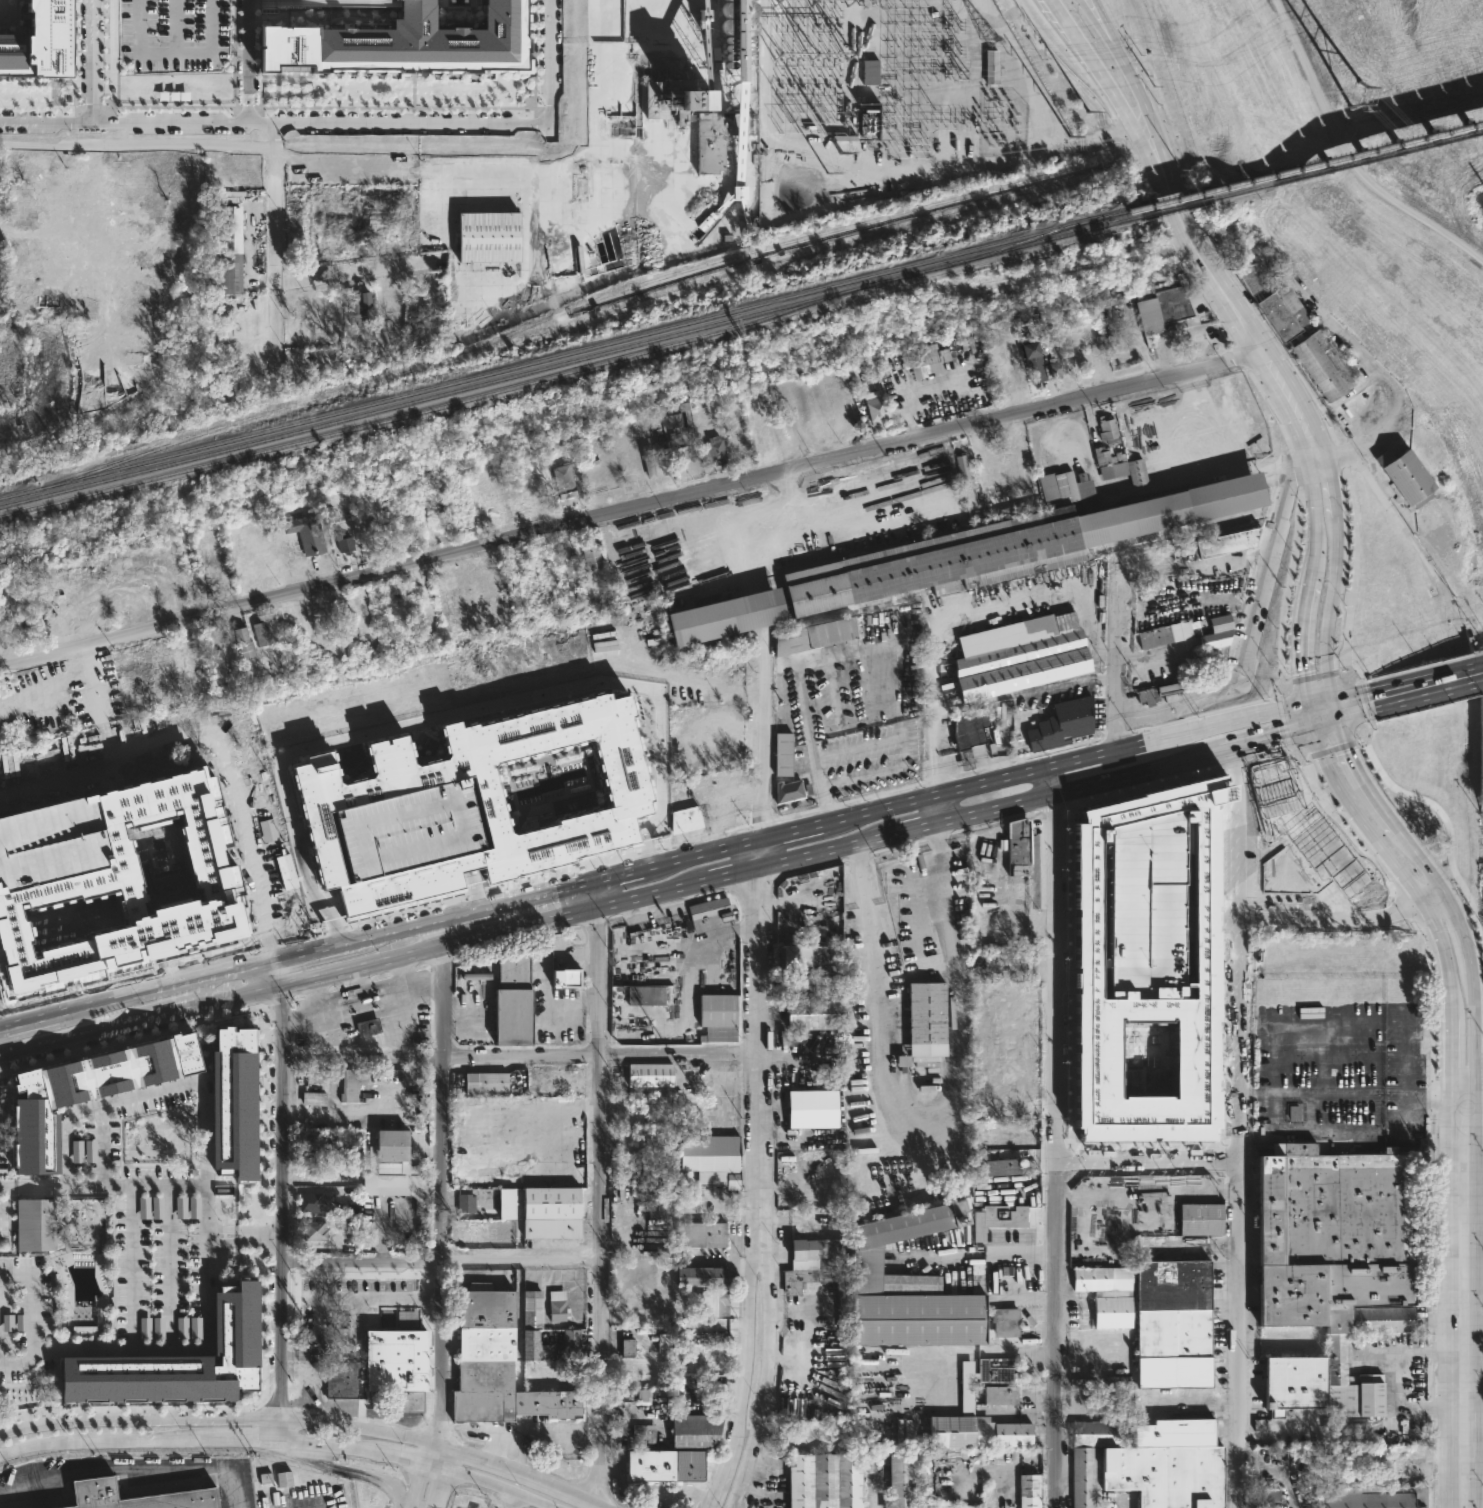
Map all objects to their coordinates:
road: (318, 1)
road: (1091, 22)
road: (1099, 22)
building: (736, 33)
parking lot: (175, 34)
power tower: (983, 36)
building: (39, 42)
building: (401, 42)
road: (171, 52)
road: (97, 61)
road: (549, 62)
building: (991, 66)
building: (870, 71)
road: (1096, 77)
road: (1140, 93)
power tower: (1358, 95)
power substation: (891, 106)
power tower: (1090, 113)
road: (1280, 119)
building: (867, 121)
road: (48, 123)
road: (321, 123)
building: (725, 130)
power tower: (1071, 138)
road: (136, 144)
power tower: (841, 150)
road: (1348, 155)
park: (1355, 161)
railway: (1310, 163)
road: (506, 171)
power tower: (828, 172)
railway: (1311, 172)
road: (273, 179)
building: (489, 236)
railway: (822, 247)
building: (229, 248)
road: (1196, 254)
road: (352, 272)
building: (1253, 275)
road: (1387, 296)
building: (356, 306)
building: (1161, 306)
railway: (565, 309)
building: (1284, 312)
railway: (496, 344)
road: (1142, 346)
railway: (568, 351)
building: (925, 359)
railway: (569, 360)
building: (1035, 360)
building: (1325, 364)
building: (1012, 370)
road: (914, 395)
building: (1355, 403)
building: (874, 407)
road: (1296, 407)
railway: (425, 408)
building: (672, 415)
road: (1090, 419)
building: (714, 450)
building: (1116, 456)
road: (1221, 456)
building: (663, 458)
building: (648, 461)
building: (964, 472)
building: (1408, 476)
building: (563, 481)
road: (1164, 483)
building: (1064, 488)
road: (1332, 491)
road: (791, 504)
road: (629, 510)
road: (1313, 512)
building: (305, 533)
road: (796, 536)
building: (345, 542)
building: (1227, 543)
building: (1007, 547)
building: (590, 554)
road: (1329, 605)
road: (1254, 613)
building: (727, 616)
road: (1302, 627)
building: (261, 632)
building: (1190, 633)
building: (814, 636)
building: (243, 643)
road: (861, 648)
building: (1019, 656)
road: (1116, 658)
road: (1062, 684)
road: (1423, 684)
building: (1161, 692)
traffic signals: (1332, 696)
road: (1348, 697)
road: (1320, 699)
traffic signals: (1308, 702)
road: (973, 704)
road: (1334, 706)
road: (1350, 707)
road: (1273, 710)
road: (1310, 712)
road: (937, 713)
traffic signals: (1337, 716)
road: (1325, 719)
traffic signals: (1313, 723)
building: (1062, 725)
road: (660, 728)
building: (969, 728)
road: (375, 731)
road: (728, 732)
road: (1176, 734)
road: (200, 735)
road: (1268, 735)
road: (761, 737)
road: (858, 744)
road: (1105, 752)
building: (783, 754)
road: (1070, 761)
road: (1359, 777)
road: (1079, 787)
building: (788, 791)
building: (482, 796)
road: (934, 796)
building: (684, 817)
road: (1357, 821)
building: (408, 825)
parking lot: (408, 825)
road: (334, 829)
building: (268, 830)
road: (319, 833)
road: (790, 833)
road: (908, 835)
road: (302, 837)
building: (51, 845)
parking garage: (51, 845)
building: (1018, 846)
road: (760, 856)
road: (822, 856)
road: (466, 860)
building: (164, 861)
building: (1253, 861)
road: (1422, 863)
building: (286, 871)
road: (737, 876)
road: (473, 889)
building: (135, 891)
road: (1433, 903)
parking garage: (1150, 908)
building: (710, 914)
road: (1331, 918)
building: (76, 919)
road: (1460, 933)
road: (377, 934)
road: (458, 941)
road: (1442, 955)
building: (809, 957)
building: (1150, 958)
road: (1054, 965)
building: (566, 979)
road: (412, 980)
road: (380, 983)
building: (827, 983)
road: (205, 991)
road: (342, 993)
building: (650, 995)
building: (511, 997)
road: (179, 1010)
building: (1311, 1011)
building: (811, 1012)
road: (306, 1013)
building: (718, 1017)
building: (925, 1020)
building: (367, 1026)
road: (1475, 1036)
road: (74, 1037)
road: (1451, 1053)
road: (759, 1055)
road: (521, 1057)
building: (925, 1061)
building: (650, 1075)
building: (494, 1081)
building: (348, 1084)
road: (1473, 1090)
building: (86, 1091)
road: (152, 1091)
road: (1245, 1092)
road: (1317, 1092)
building: (312, 1098)
road: (1423, 1099)
building: (234, 1101)
road: (561, 1108)
building: (816, 1108)
road: (339, 1113)
road: (1239, 1125)
building: (317, 1141)
building: (392, 1143)
road: (101, 1144)
road: (1465, 1146)
road: (927, 1149)
building: (77, 1151)
building: (90, 1151)
building: (710, 1159)
building: (992, 1163)
road: (1149, 1163)
road: (441, 1181)
road: (600, 1192)
road: (1475, 1193)
road: (282, 1197)
building: (321, 1203)
building: (466, 1203)
building: (505, 1203)
building: (657, 1205)
building: (144, 1207)
building: (157, 1207)
building: (180, 1207)
building: (550, 1212)
building: (998, 1218)
building: (1201, 1218)
building: (33, 1226)
road: (244, 1228)
building: (315, 1229)
building: (700, 1234)
road: (244, 1242)
road: (206, 1249)
building: (813, 1252)
building: (1338, 1253)
road: (441, 1260)
road: (128, 1266)
building: (700, 1276)
building: (900, 1286)
building: (1107, 1294)
road: (359, 1298)
building: (714, 1302)
building: (557, 1306)
road: (33, 1313)
building: (1005, 1322)
building: (1173, 1324)
building: (532, 1326)
road: (1056, 1335)
building: (571, 1339)
building: (664, 1339)
road: (1272, 1341)
building: (627, 1347)
road: (1466, 1351)
road: (1409, 1352)
building: (178, 1360)
building: (498, 1364)
building: (396, 1365)
road: (740, 1376)
road: (762, 1376)
building: (340, 1379)
building: (997, 1383)
building: (1295, 1384)
road: (1474, 1399)
road: (1405, 1406)
road: (219, 1414)
building: (639, 1432)
building: (973, 1434)
road: (281, 1436)
road: (537, 1436)
building: (675, 1451)
road: (435, 1453)
building: (1089, 1456)
road: (501, 1465)
building: (1168, 1465)
road: (129, 1468)
building: (284, 1479)
building: (824, 1481)
building: (900, 1481)
road: (429, 1485)
building: (1029, 1491)
building: (95, 1494)
building: (1266, 1498)
road: (510, 1499)
road: (586, 1499)
building: (1360, 1499)
building: (941, 1507)

